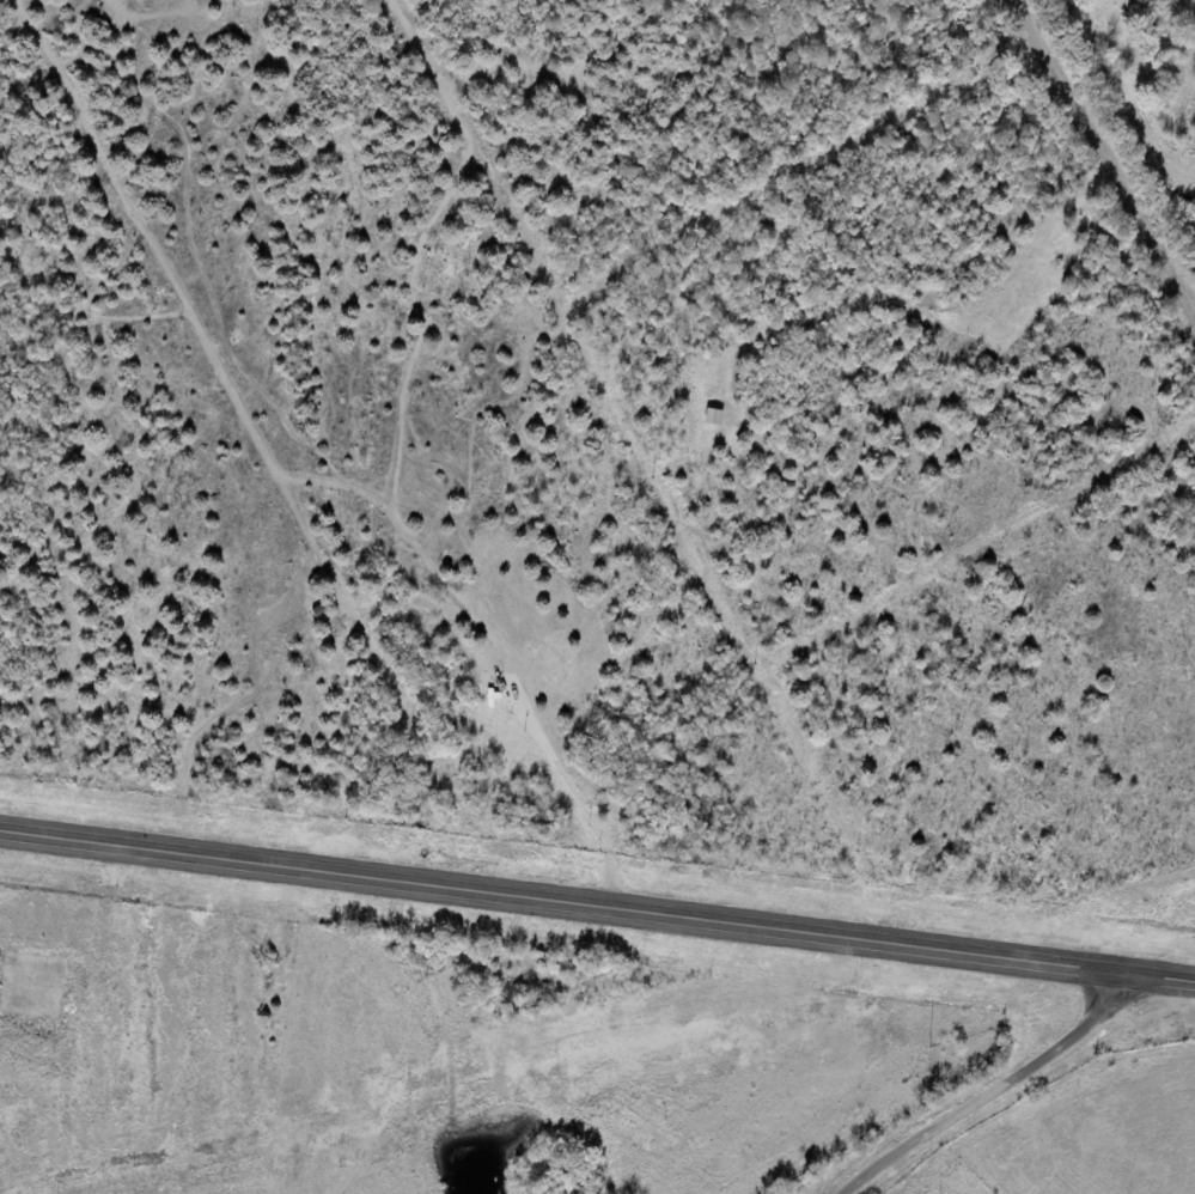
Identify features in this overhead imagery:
road: (1106, 150)
road: (597, 901)
road: (1004, 1085)

